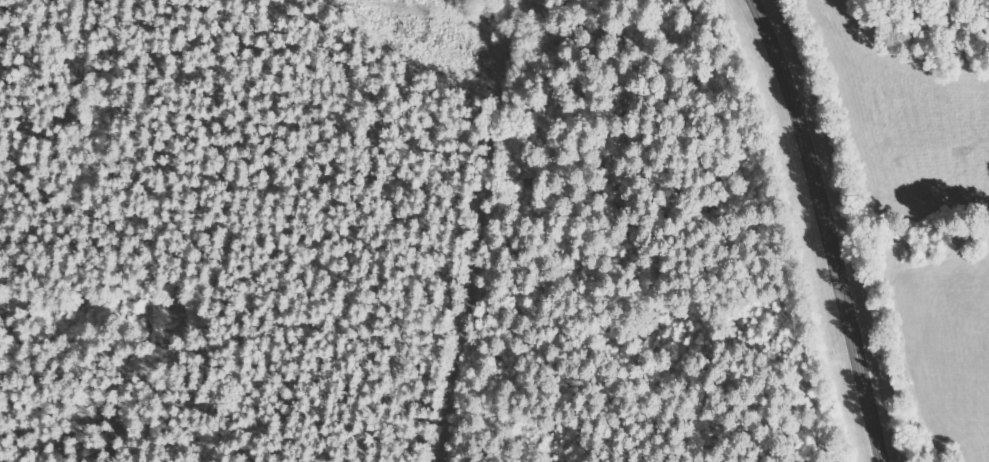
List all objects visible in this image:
road: (826, 227)

